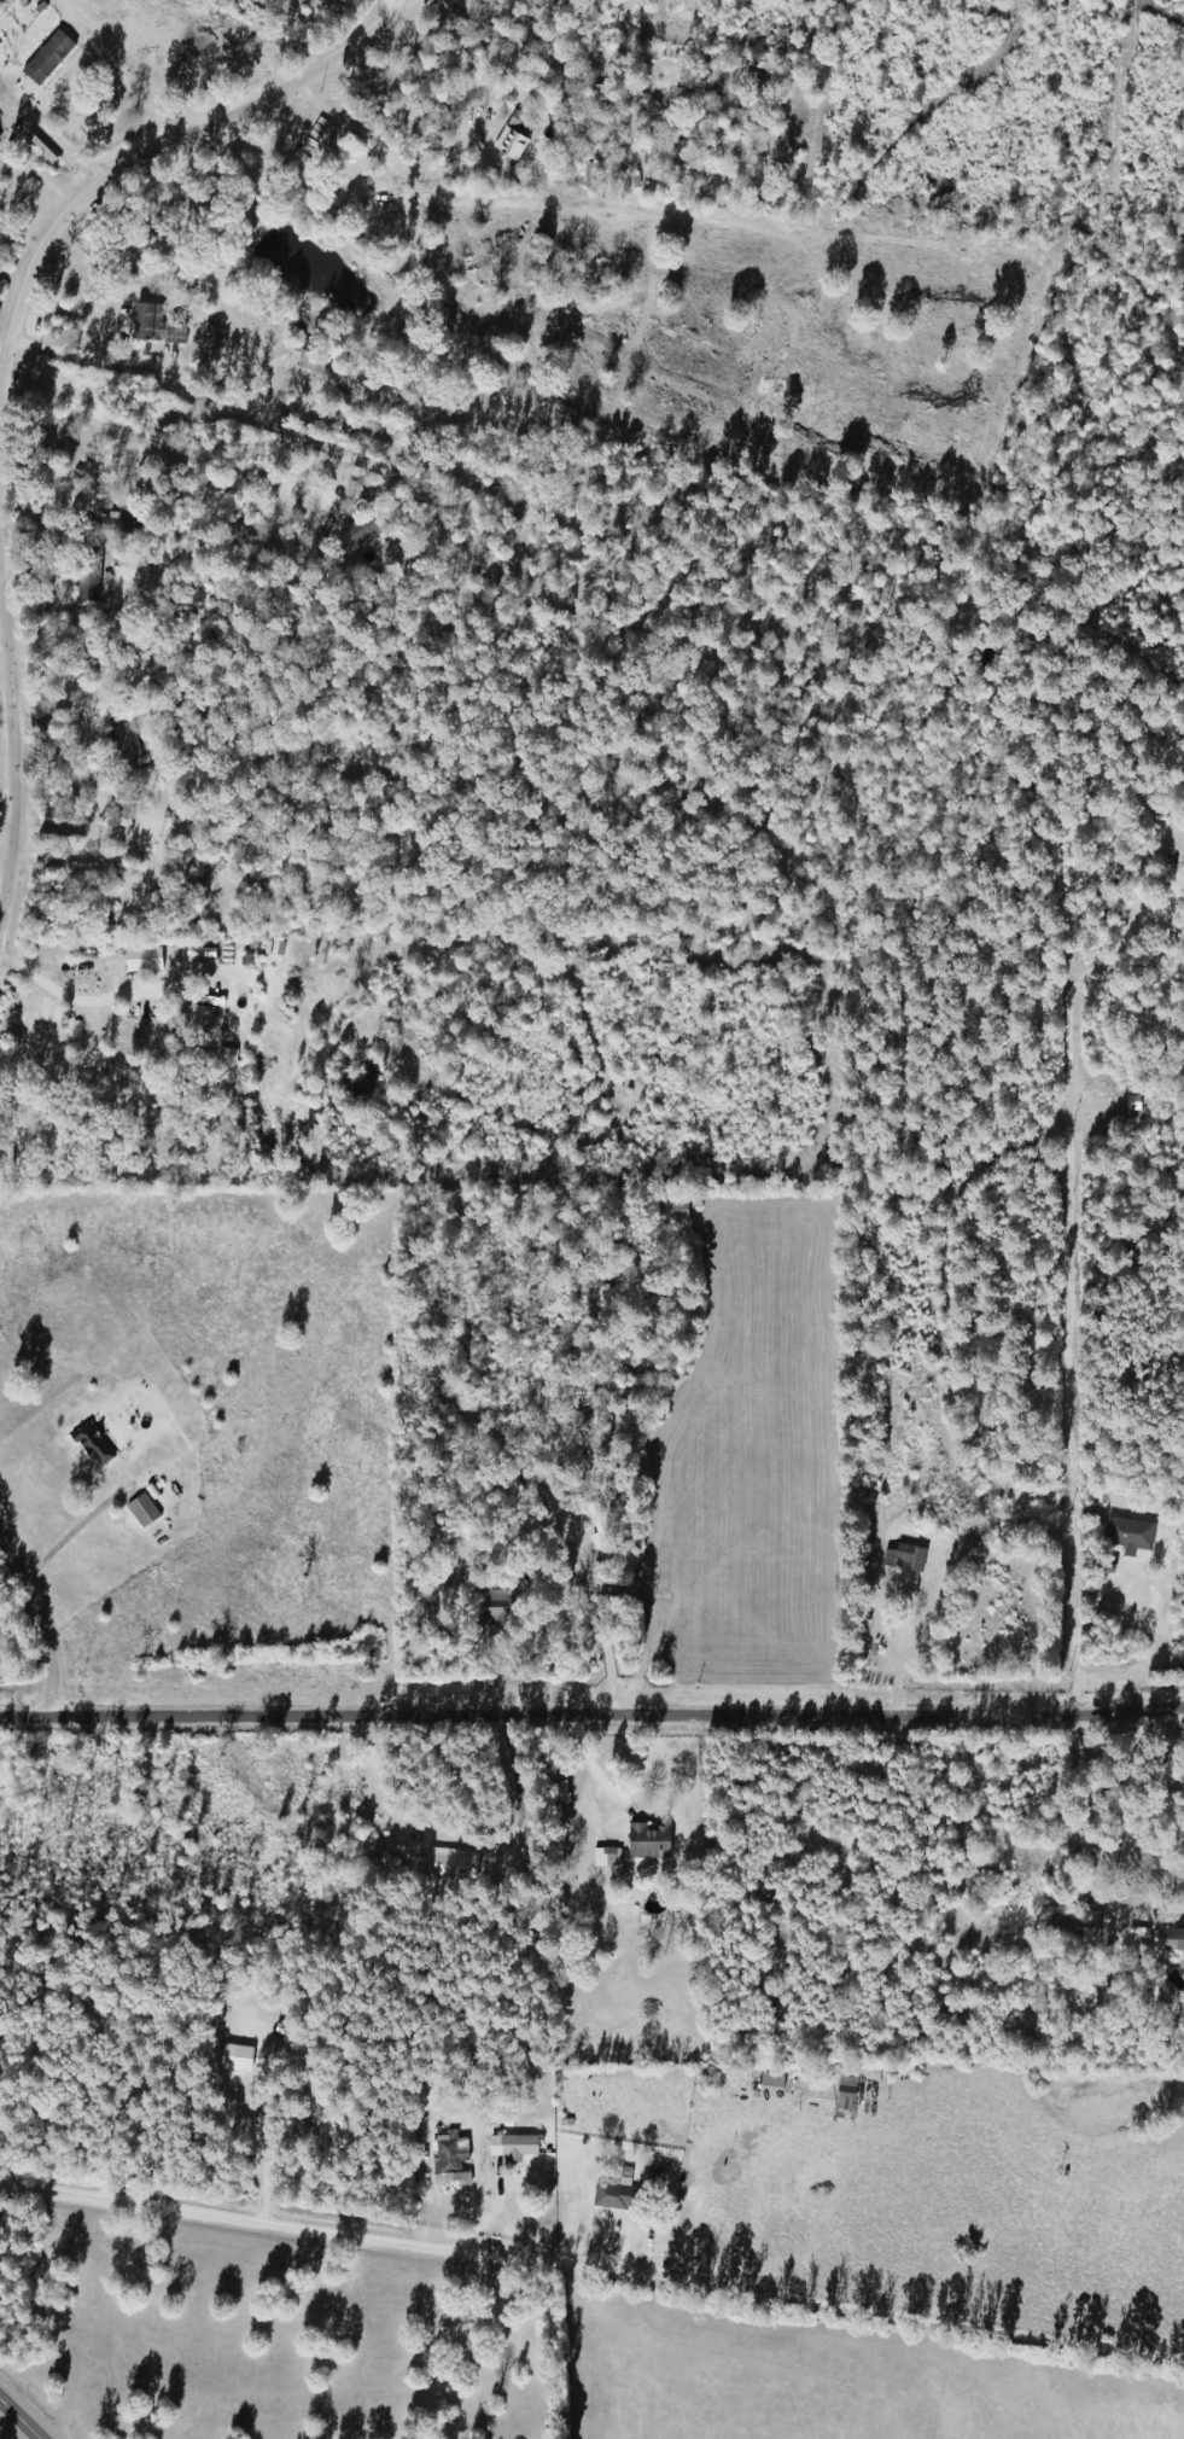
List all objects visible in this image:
building: (45, 57)
building: (661, 122)
building: (512, 134)
road: (167, 139)
road: (425, 147)
building: (582, 175)
building: (152, 325)
building: (308, 355)
building: (362, 526)
building: (84, 572)
building: (119, 739)
road: (8, 759)
road: (84, 857)
building: (197, 868)
building: (210, 1019)
building: (1130, 1102)
building: (669, 1207)
road: (1084, 1299)
building: (561, 1392)
building: (89, 1444)
building: (506, 1489)
building: (139, 1509)
building: (599, 1527)
building: (902, 1555)
building: (1126, 1574)
road: (664, 1583)
building: (495, 1606)
road: (41, 1608)
road: (591, 1722)
building: (645, 1840)
building: (449, 1863)
building: (1062, 1926)
building: (1172, 1939)
building: (229, 2049)
building: (768, 2080)
building: (844, 2082)
building: (305, 2102)
building: (839, 2102)
building: (511, 2146)
building: (447, 2158)
building: (616, 2196)
road: (590, 2257)
road: (19, 2420)

